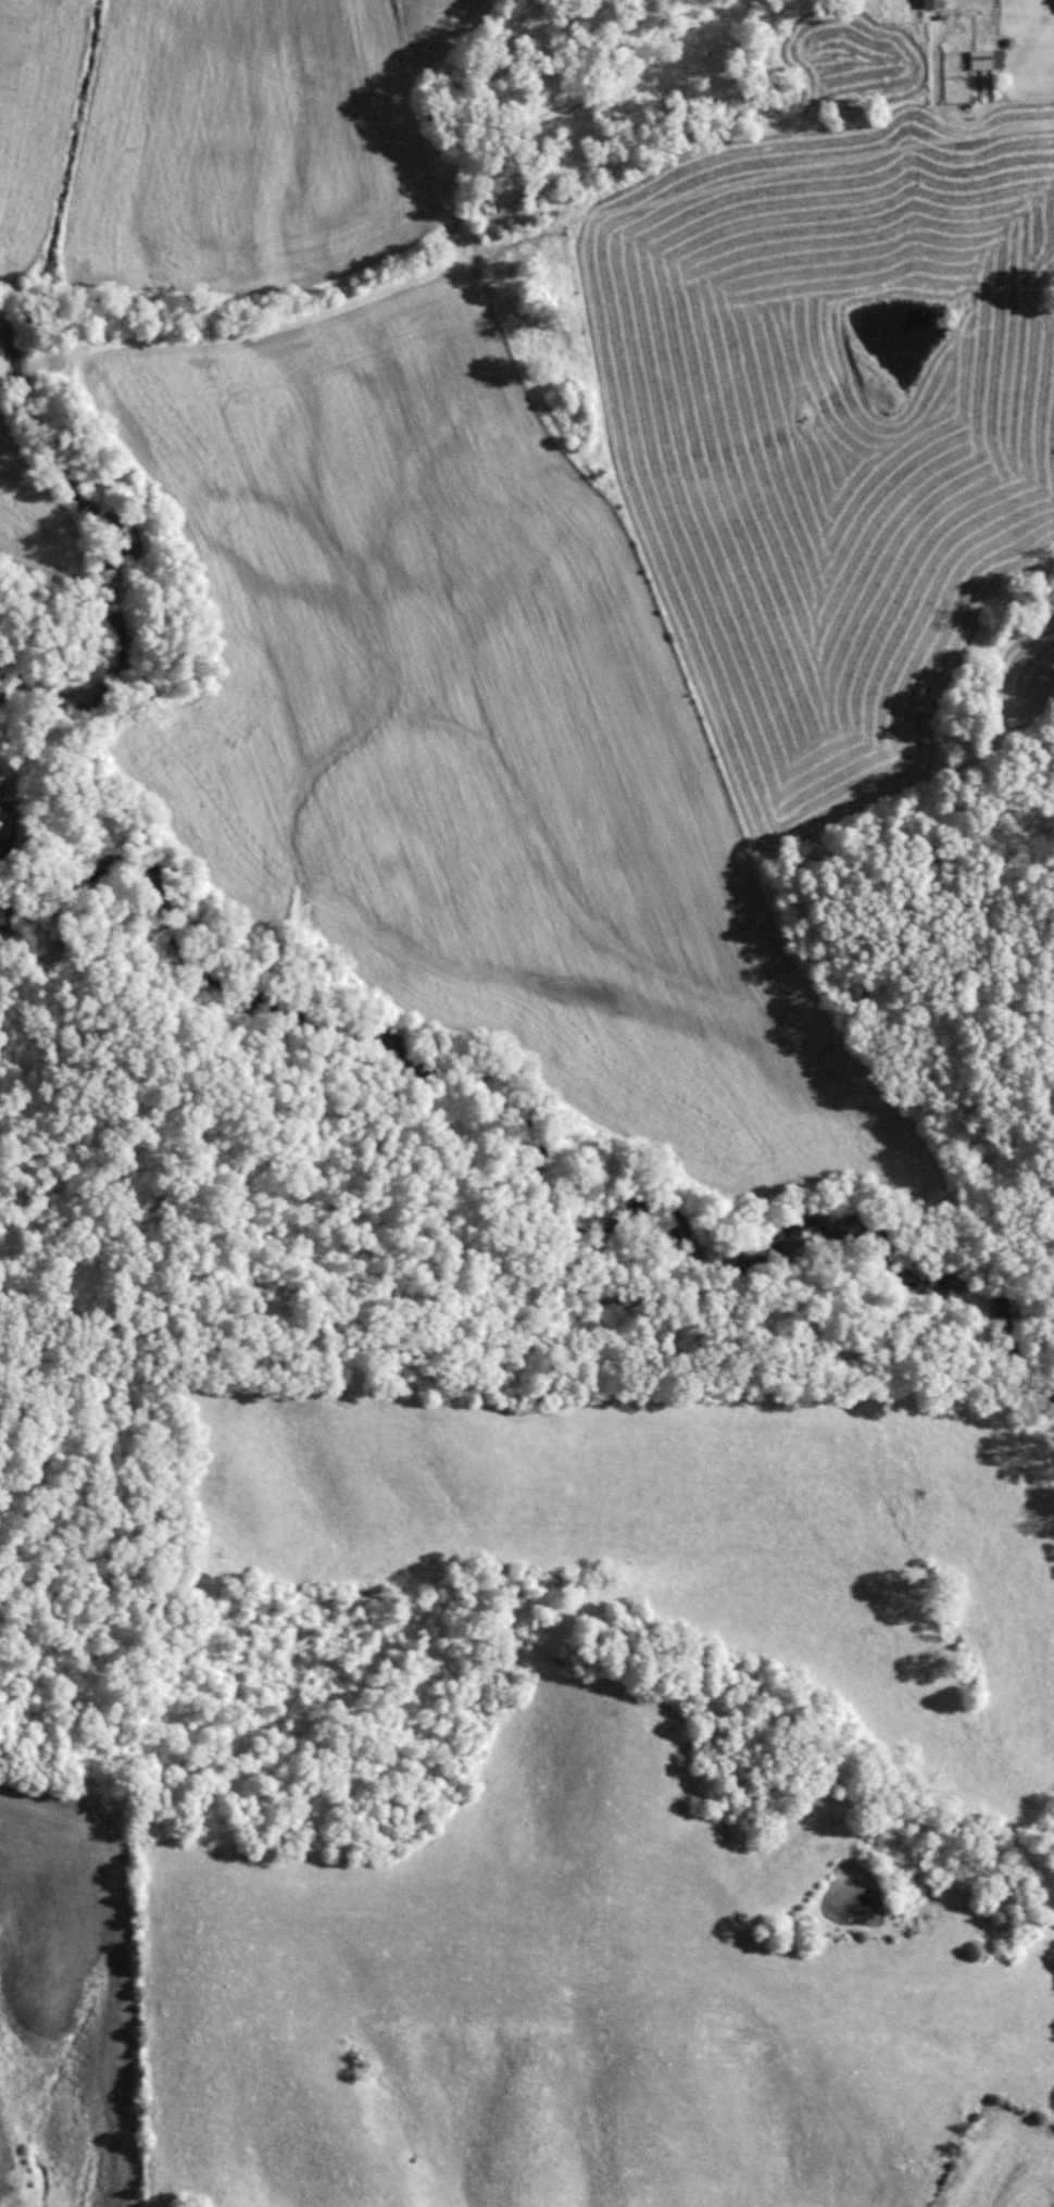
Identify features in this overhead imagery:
building: (930, 3)
building: (983, 58)

